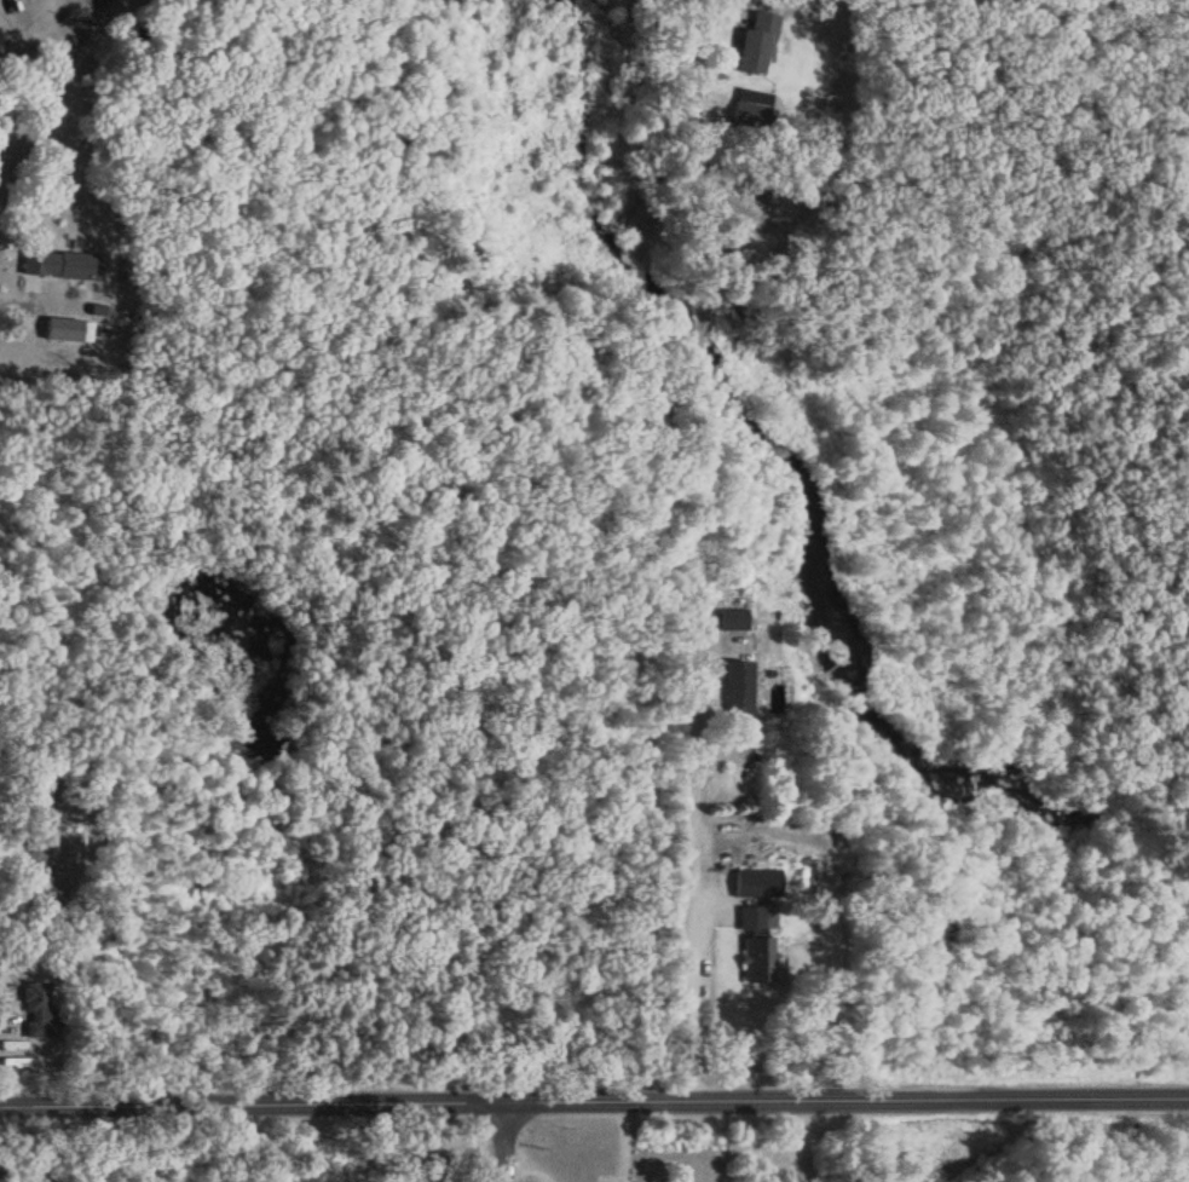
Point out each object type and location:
building: (756, 42)
road: (36, 71)
building: (751, 102)
building: (77, 265)
road: (653, 548)
road: (686, 548)
building: (733, 618)
building: (737, 686)
building: (755, 882)
building: (752, 918)
building: (756, 958)
building: (35, 1009)
road: (594, 1099)
road: (624, 1140)
road: (503, 1141)
road: (530, 1163)
road: (428, 1174)
building: (2, 1177)

